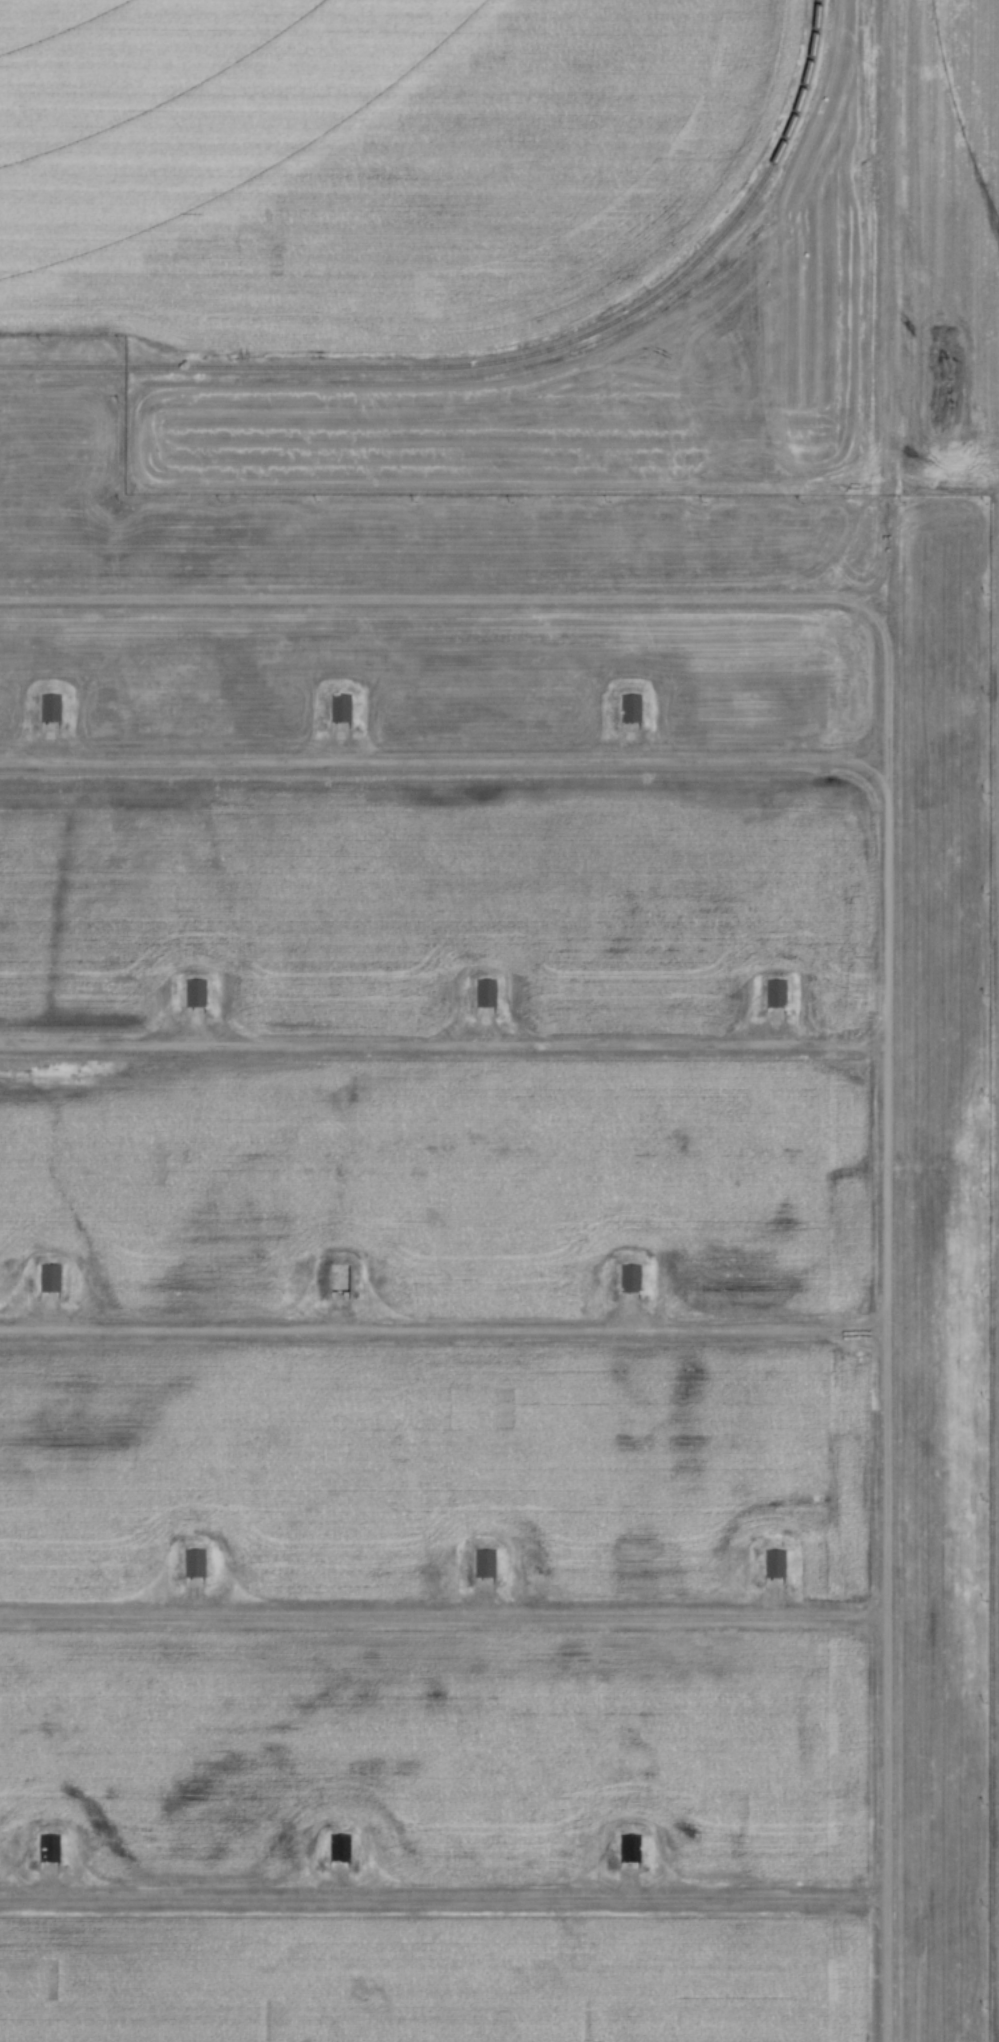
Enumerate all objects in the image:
railway: (510, 359)
road: (884, 391)
road: (446, 594)
building: (49, 708)
building: (339, 708)
building: (630, 708)
road: (886, 892)
building: (194, 993)
building: (485, 993)
building: (775, 994)
road: (443, 1043)
building: (49, 1278)
building: (339, 1278)
building: (629, 1279)
road: (444, 1328)
building: (193, 1563)
building: (484, 1563)
building: (774, 1563)
road: (443, 1612)
building: (48, 1848)
building: (337, 1848)
building: (628, 1849)
road: (442, 1896)
road: (885, 1969)

